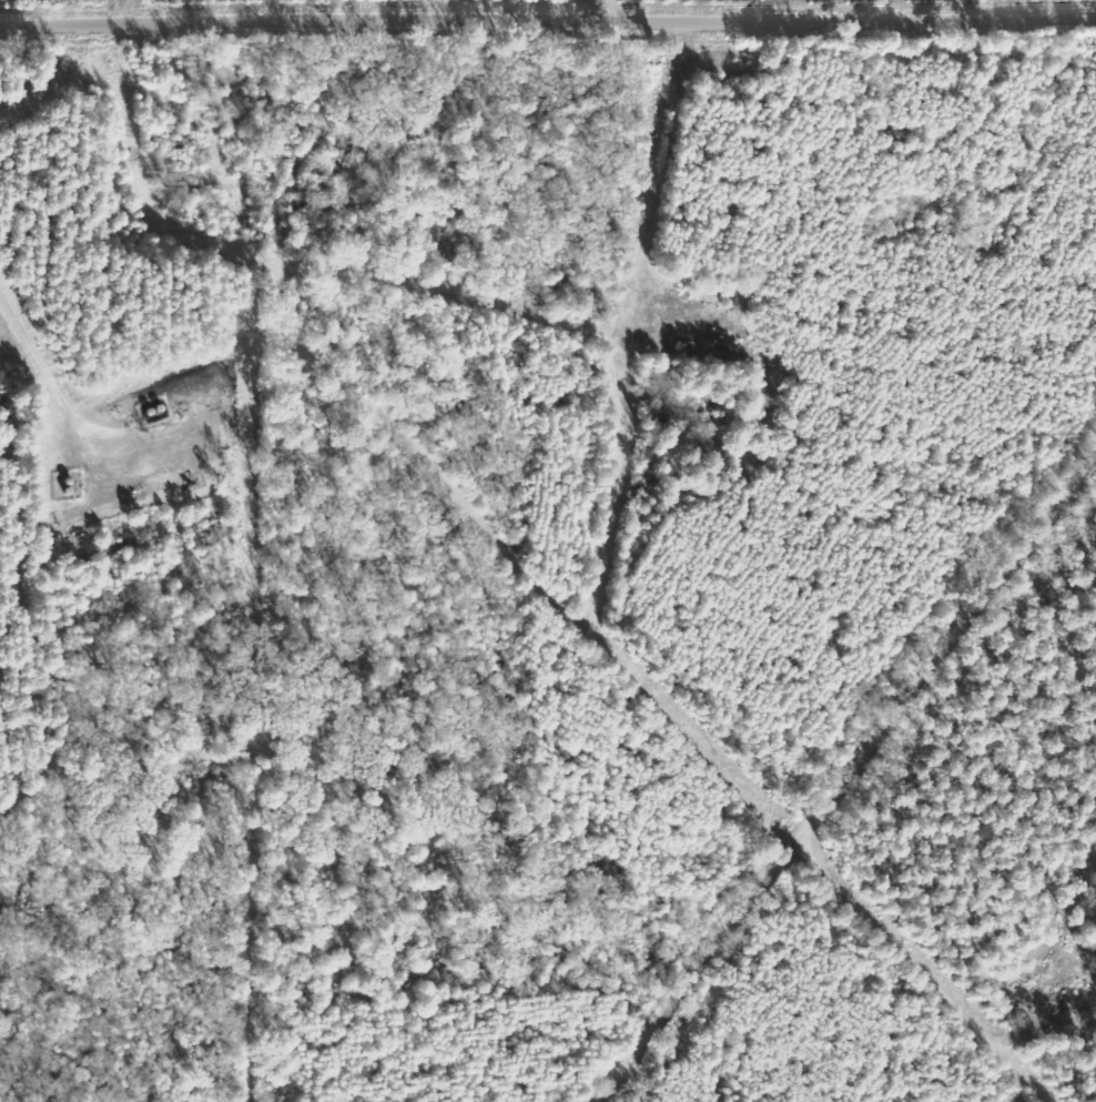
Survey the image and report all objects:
road: (548, 36)
road: (865, 783)
road: (914, 959)

